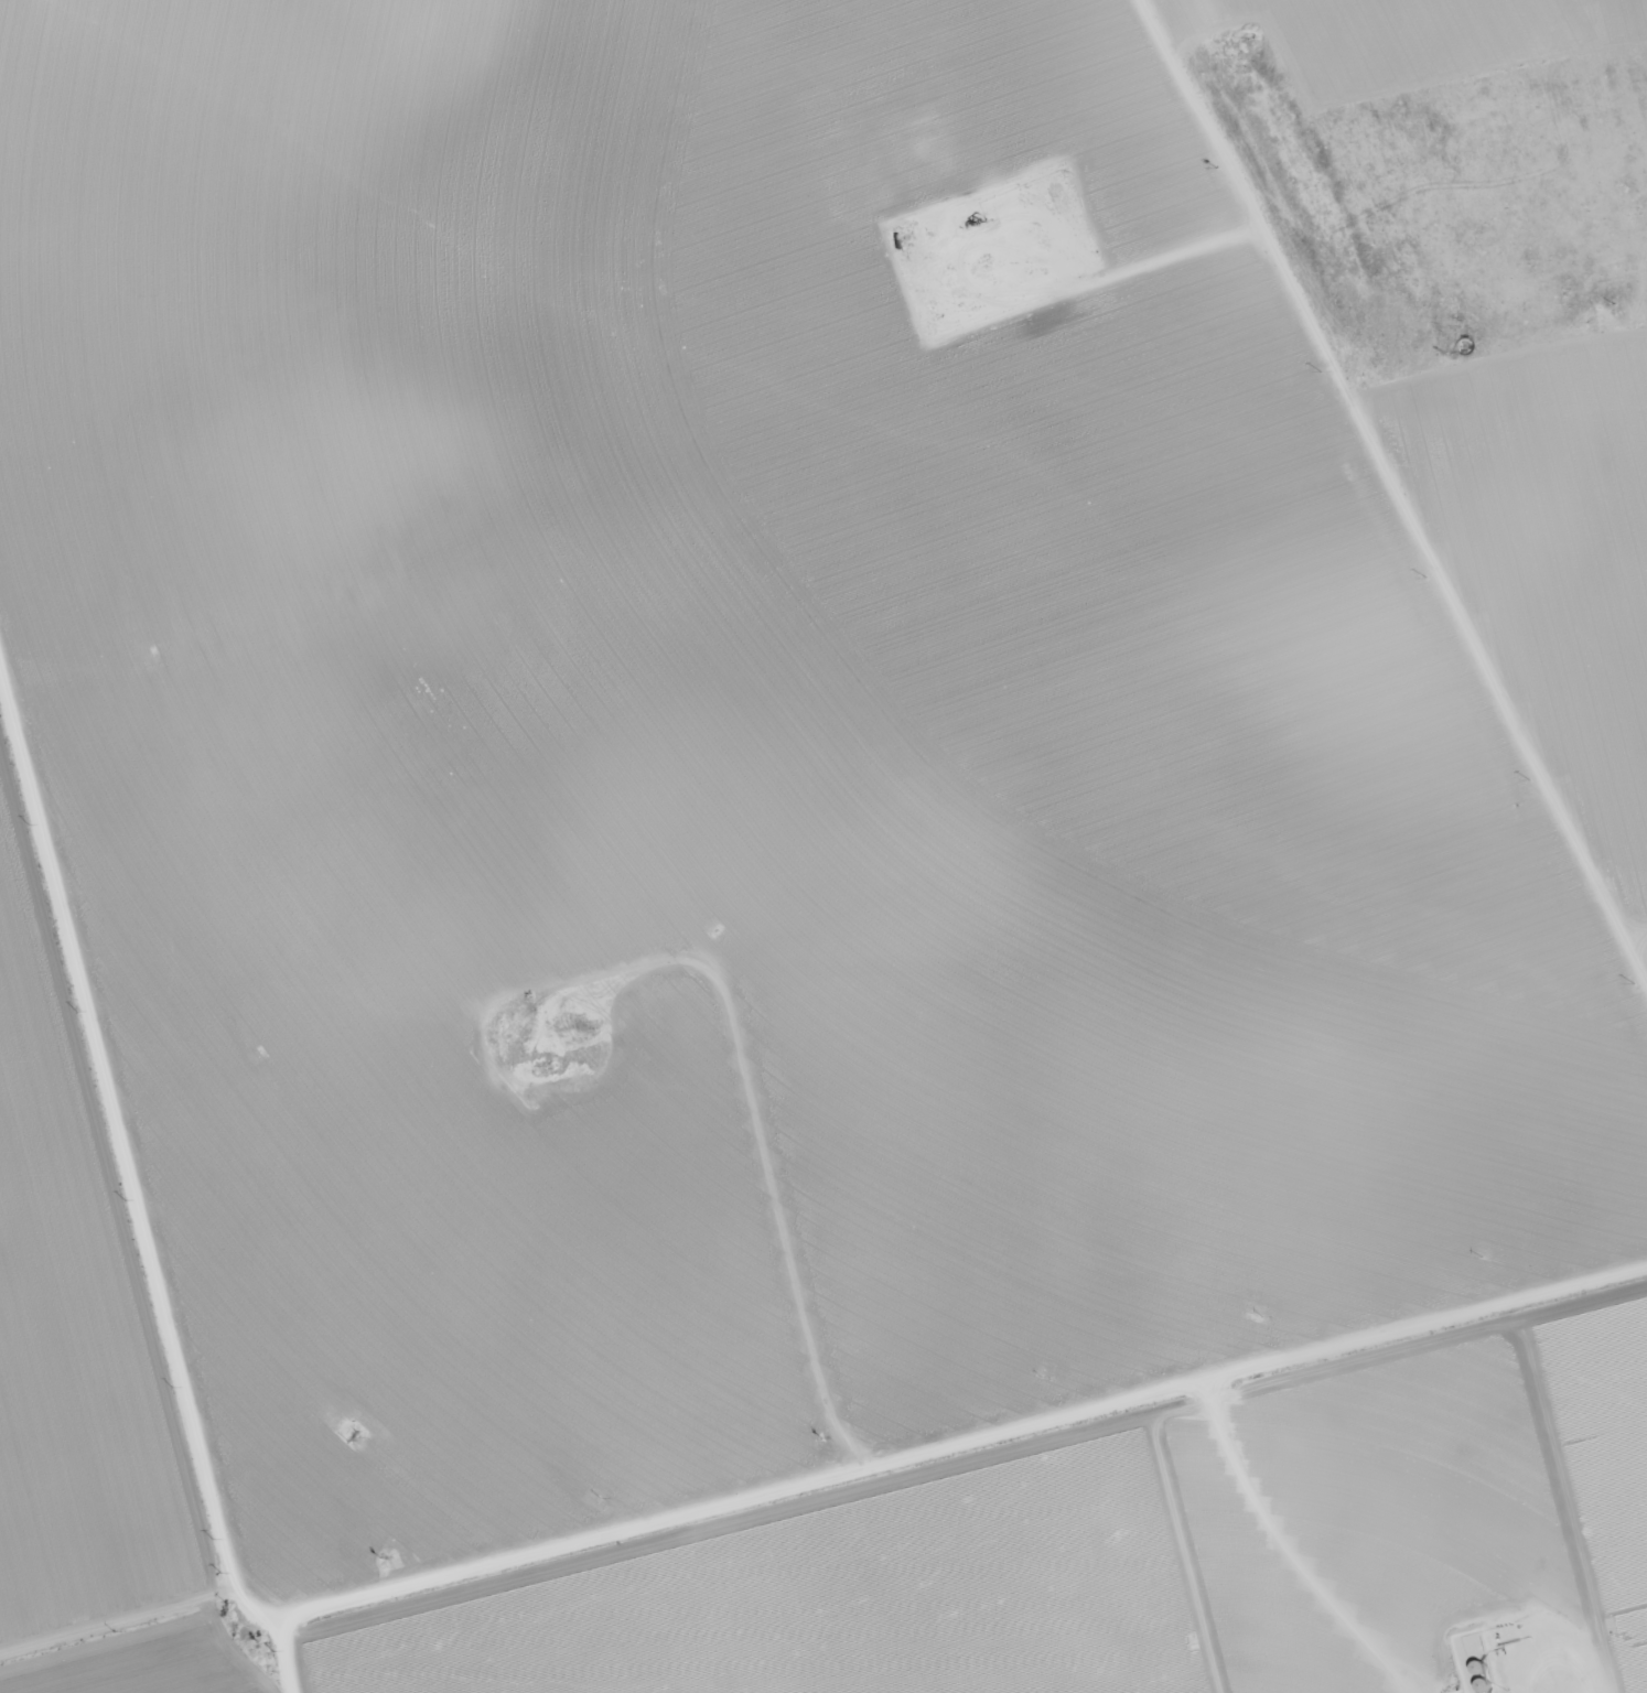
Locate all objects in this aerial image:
road: (1390, 492)

